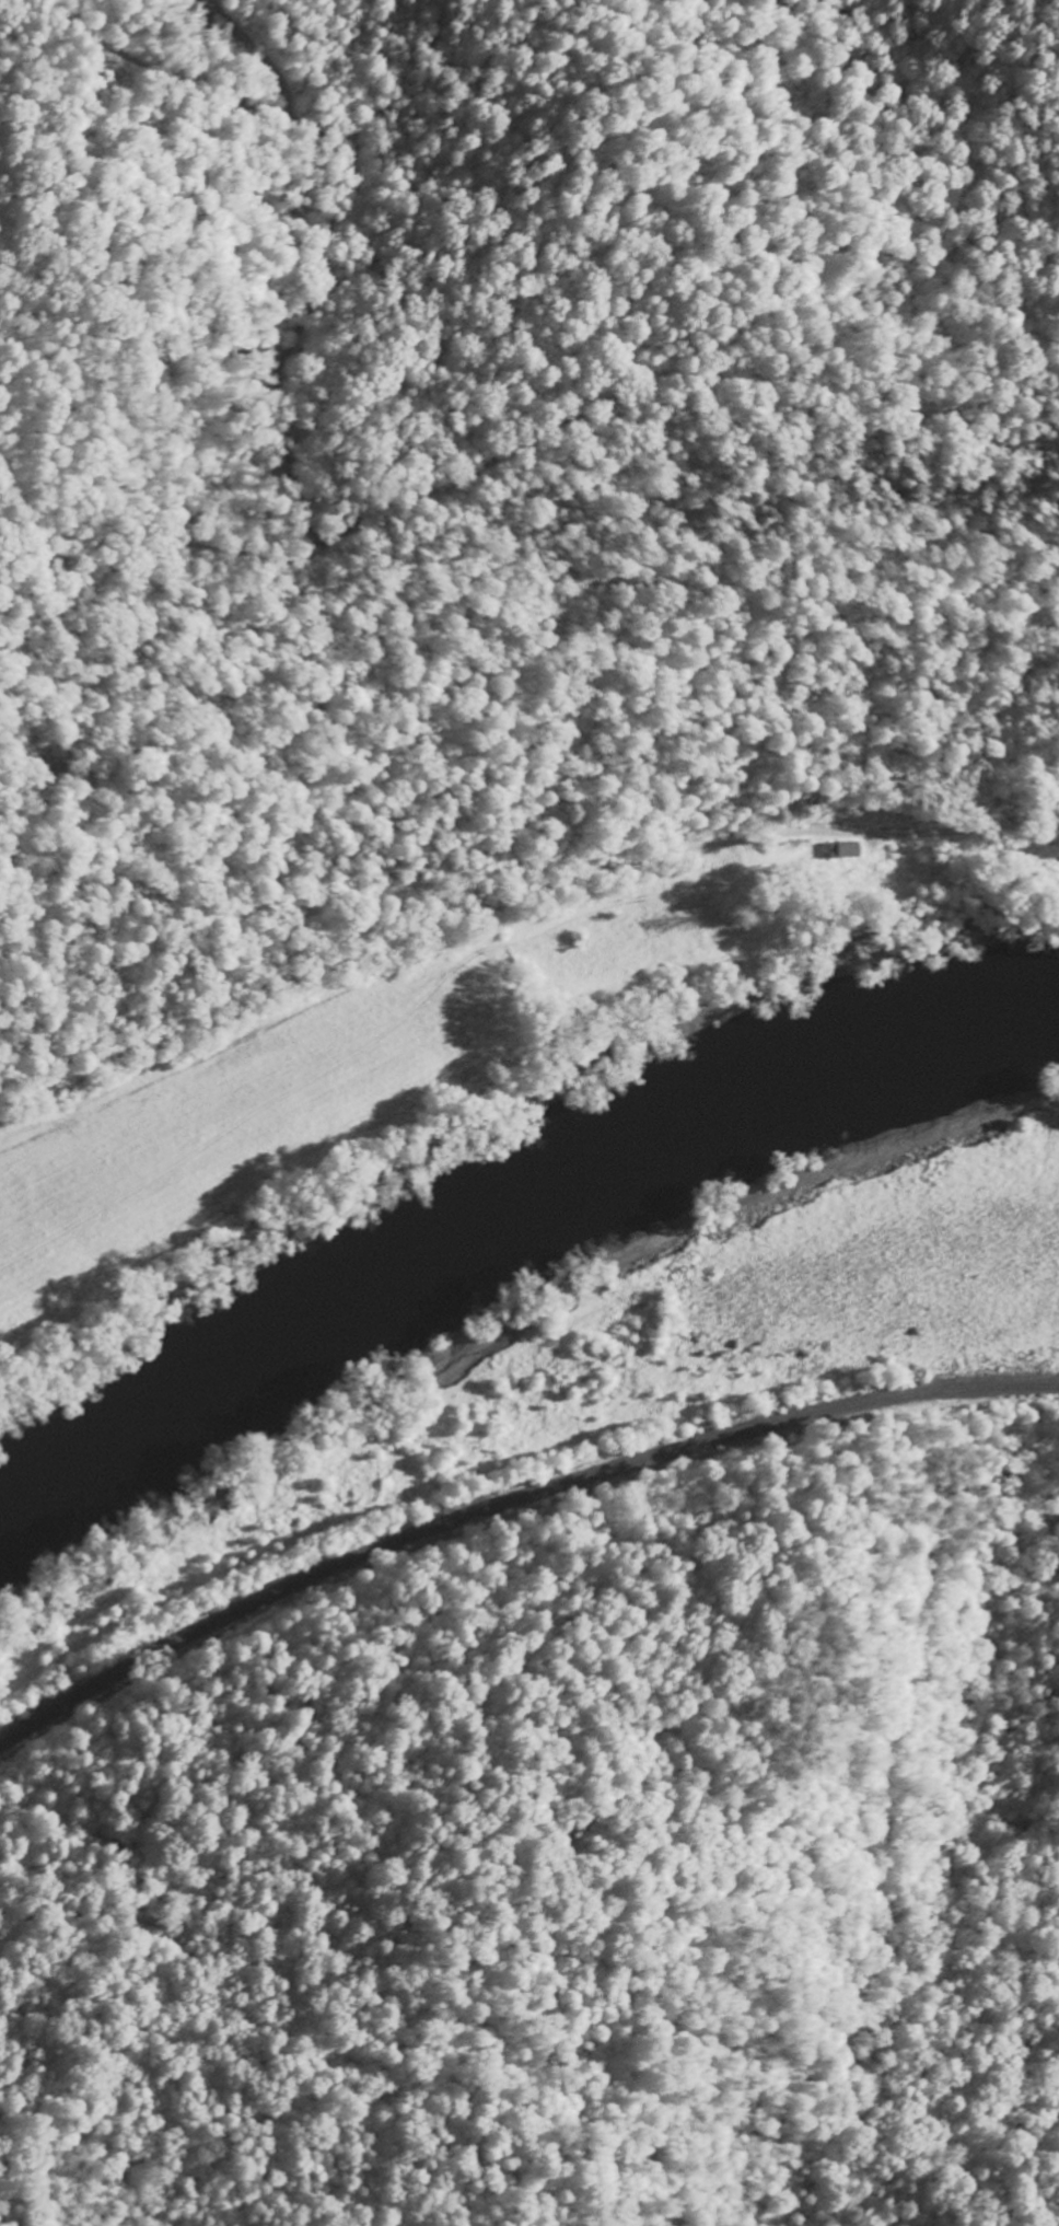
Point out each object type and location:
road: (303, 424)
building: (842, 848)
road: (512, 892)
river: (515, 1232)
railway: (509, 1509)

